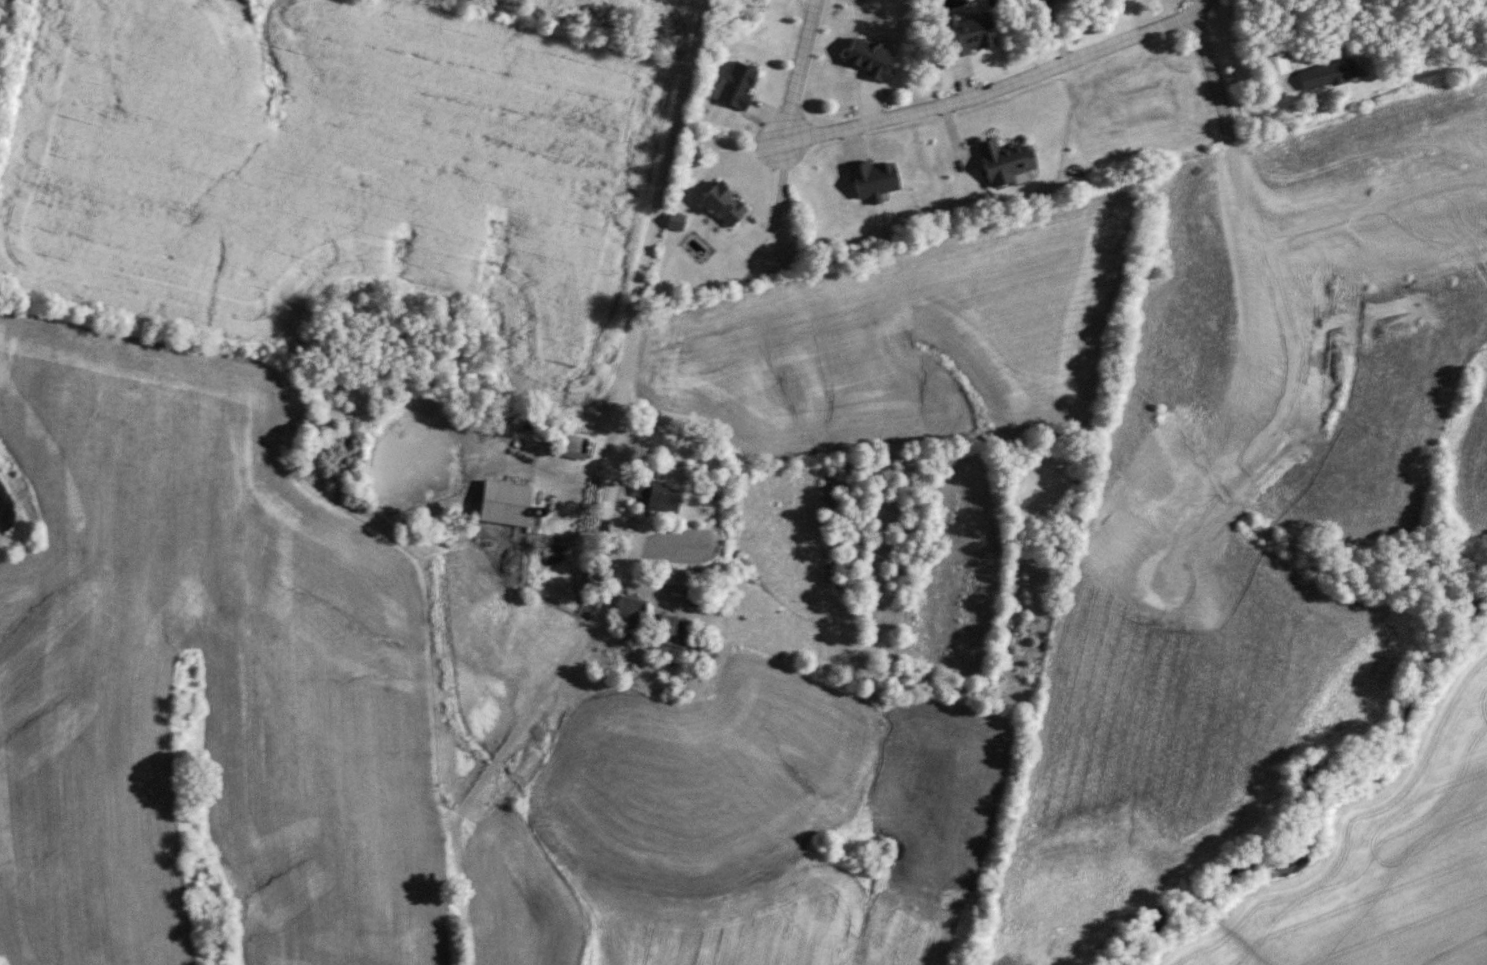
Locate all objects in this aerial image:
building: (967, 32)
building: (868, 58)
road: (799, 68)
road: (1215, 71)
building: (1326, 74)
road: (1237, 81)
road: (1257, 82)
building: (737, 83)
road: (1000, 84)
building: (1005, 159)
road: (777, 201)
building: (722, 204)
building: (675, 221)
road: (646, 255)
building: (1155, 262)
building: (570, 446)
building: (655, 496)
building: (504, 503)
road: (604, 511)
building: (682, 577)
building: (629, 609)
building: (677, 641)

